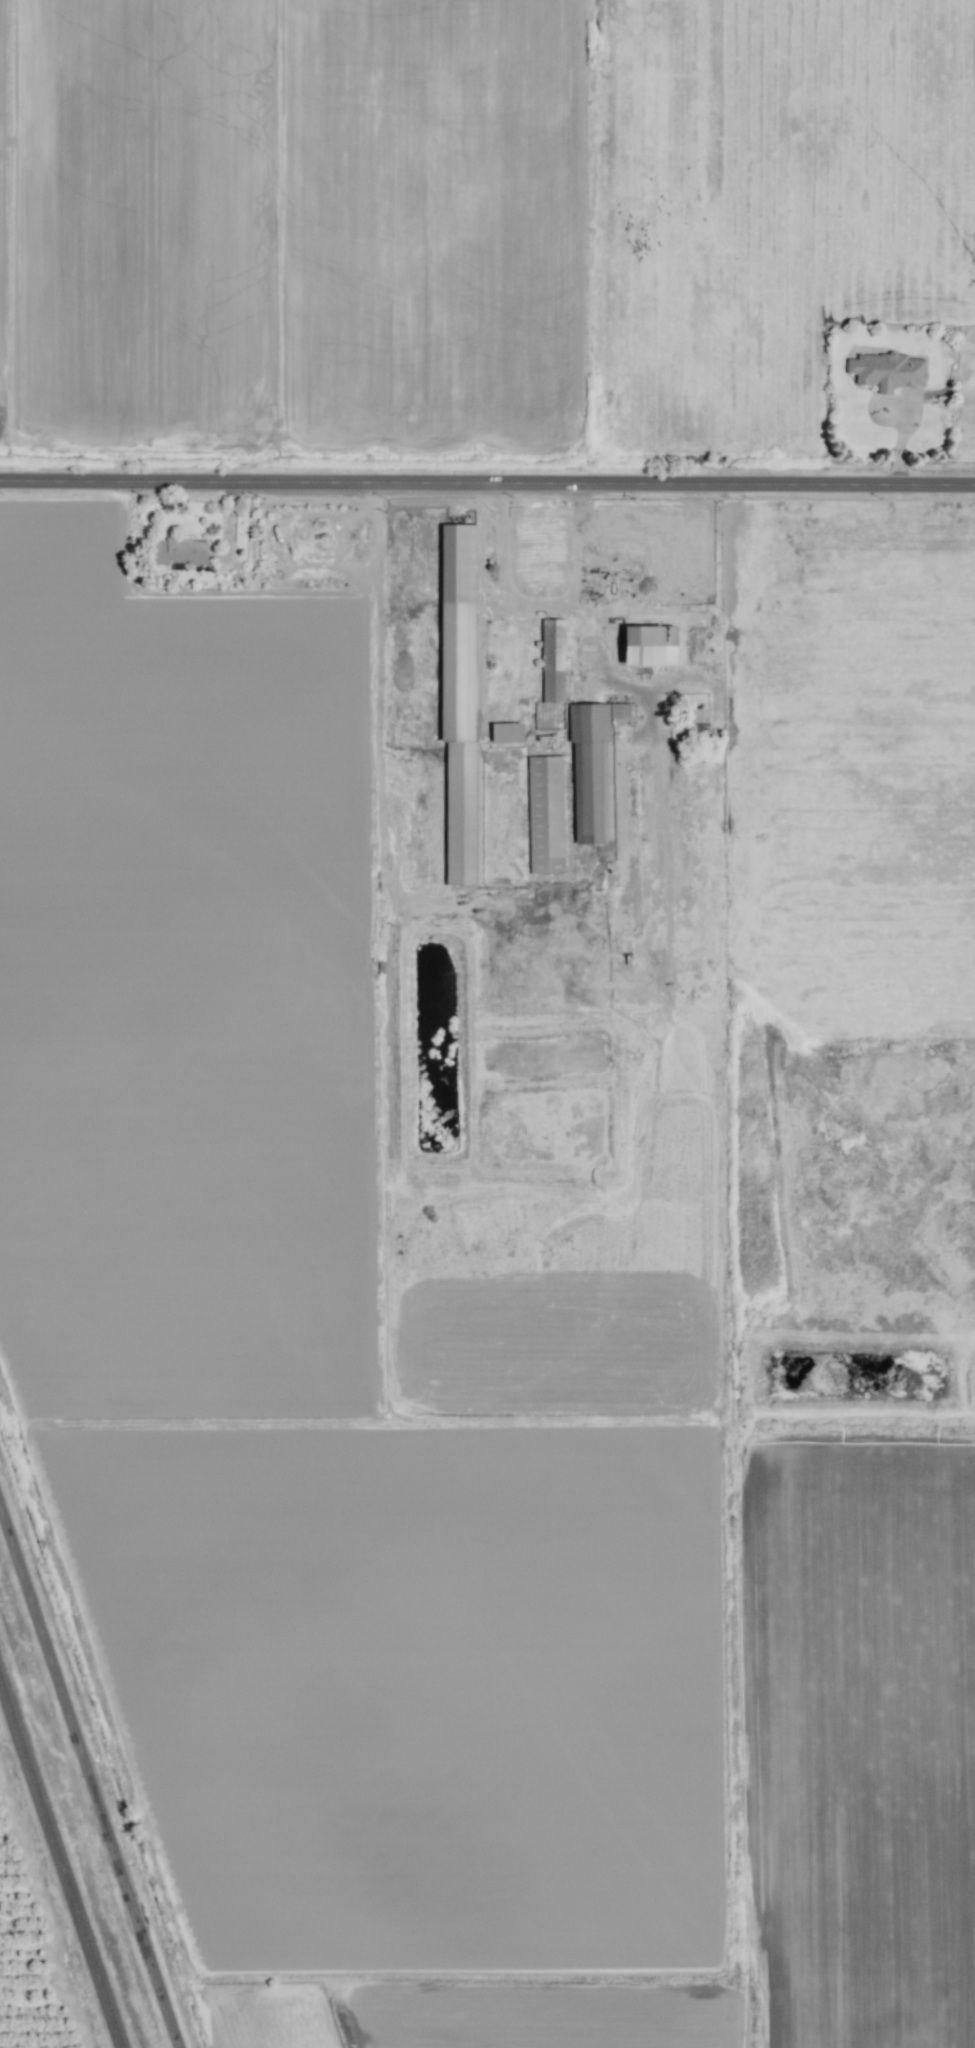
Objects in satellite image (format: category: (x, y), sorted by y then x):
building: (886, 370)
road: (487, 481)
building: (178, 551)
building: (649, 645)
building: (553, 660)
building: (458, 696)
building: (698, 718)
building: (506, 732)
building: (591, 767)
building: (545, 814)
road: (92, 1763)
railway: (60, 1863)
crop: (27, 1964)

